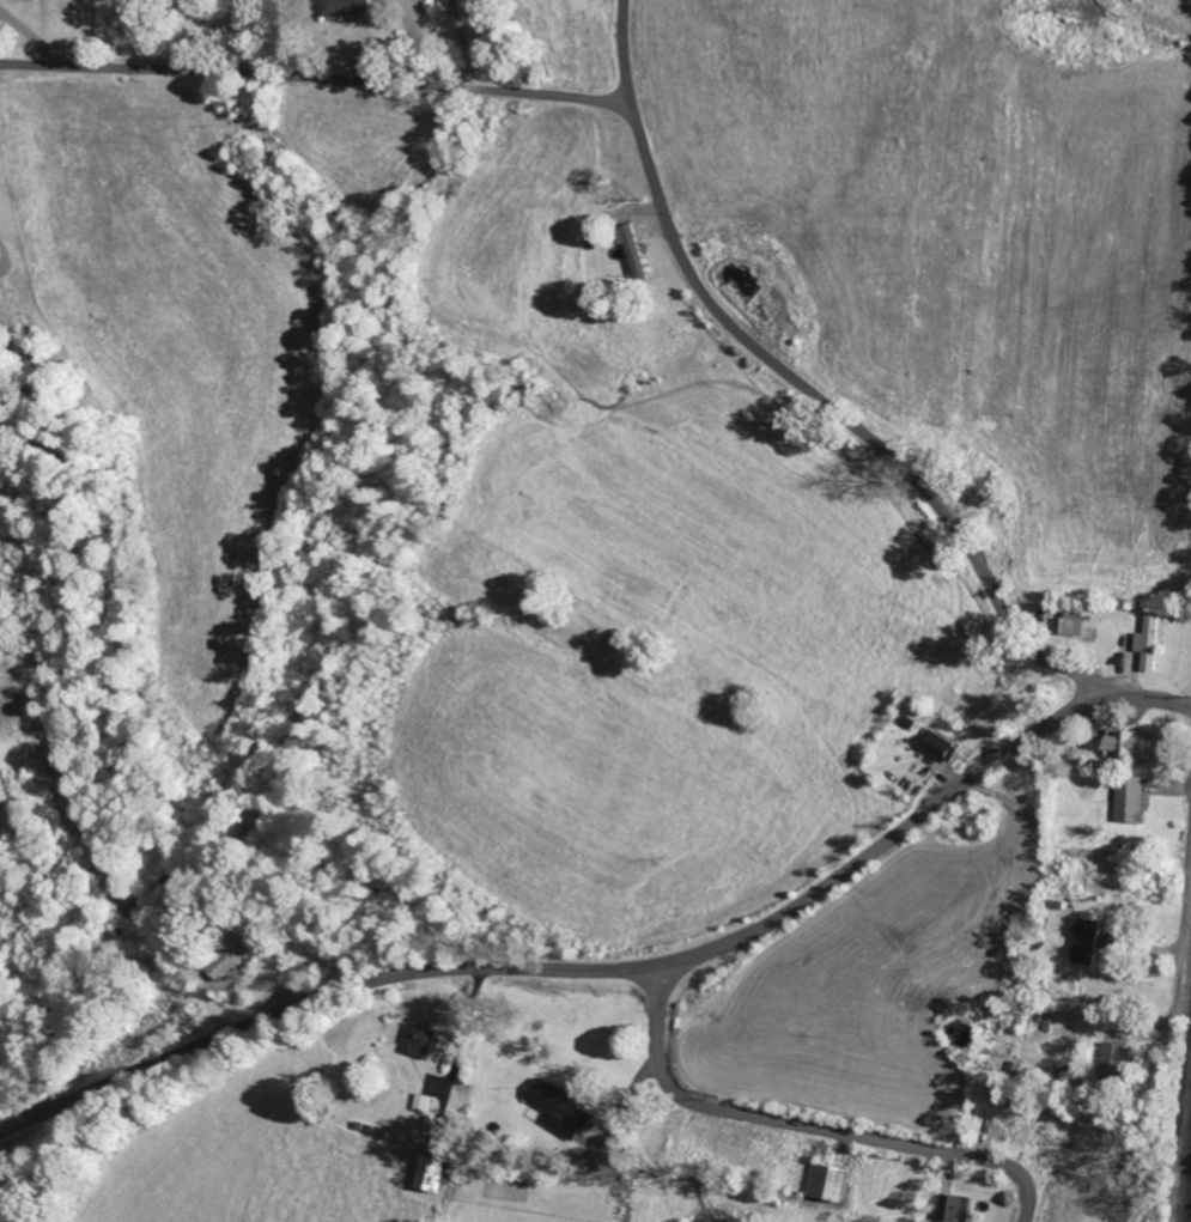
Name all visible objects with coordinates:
building: (345, 7)
road: (317, 80)
building: (636, 253)
road: (808, 391)
building: (1149, 642)
building: (1126, 744)
building: (938, 747)
building: (0, 792)
building: (1129, 800)
road: (1184, 931)
building: (1086, 942)
road: (697, 952)
road: (324, 999)
building: (423, 1040)
building: (1113, 1062)
building: (563, 1109)
railway: (1185, 1169)
building: (429, 1175)
building: (826, 1184)
building: (954, 1209)

